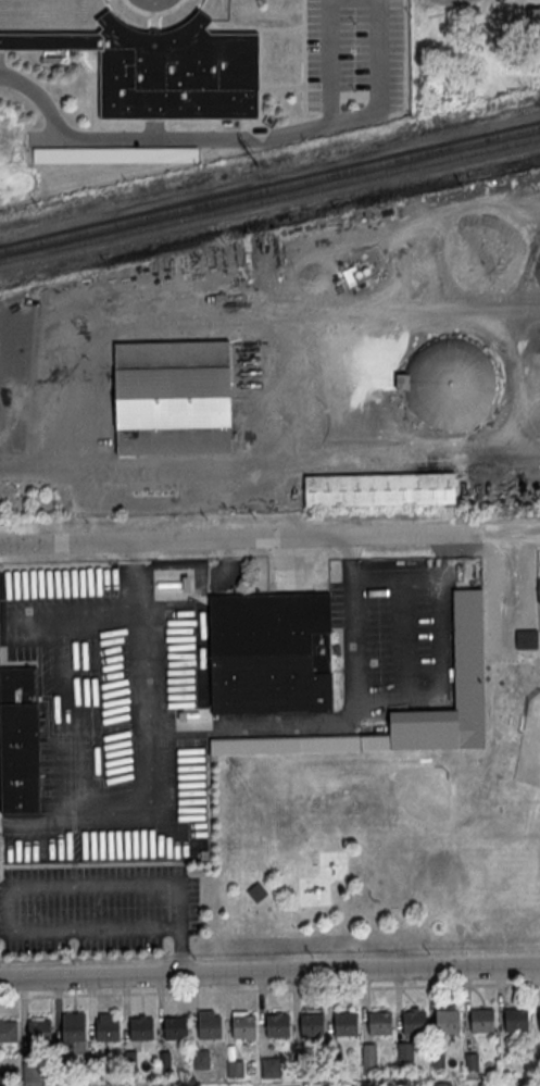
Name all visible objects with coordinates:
road: (467, 8)
road: (153, 11)
building: (533, 20)
parking lot: (354, 55)
road: (330, 61)
building: (164, 67)
road: (379, 79)
road: (153, 138)
building: (115, 155)
power tower: (261, 166)
railway: (269, 188)
railway: (269, 200)
road: (300, 328)
building: (447, 383)
building: (172, 398)
road: (35, 469)
building: (379, 488)
road: (269, 538)
road: (140, 572)
building: (539, 589)
road: (498, 592)
building: (527, 639)
building: (468, 648)
building: (271, 654)
road: (442, 662)
road: (146, 664)
road: (343, 720)
building: (18, 741)
road: (117, 820)
road: (1, 821)
park: (395, 821)
road: (67, 885)
building: (256, 891)
road: (177, 903)
road: (97, 929)
road: (179, 951)
road: (103, 957)
road: (269, 972)
road: (269, 988)
building: (539, 1020)
building: (515, 1021)
building: (480, 1022)
building: (413, 1023)
building: (445, 1023)
building: (344, 1024)
building: (379, 1024)
building: (311, 1025)
building: (277, 1026)
building: (209, 1027)
building: (243, 1027)
building: (73, 1028)
building: (106, 1028)
building: (175, 1028)
building: (141, 1029)
building: (8, 1032)
building: (38, 1032)
building: (404, 1050)
building: (200, 1058)
building: (368, 1058)
building: (269, 1065)
building: (235, 1068)
building: (442, 1084)
building: (331, 1085)

